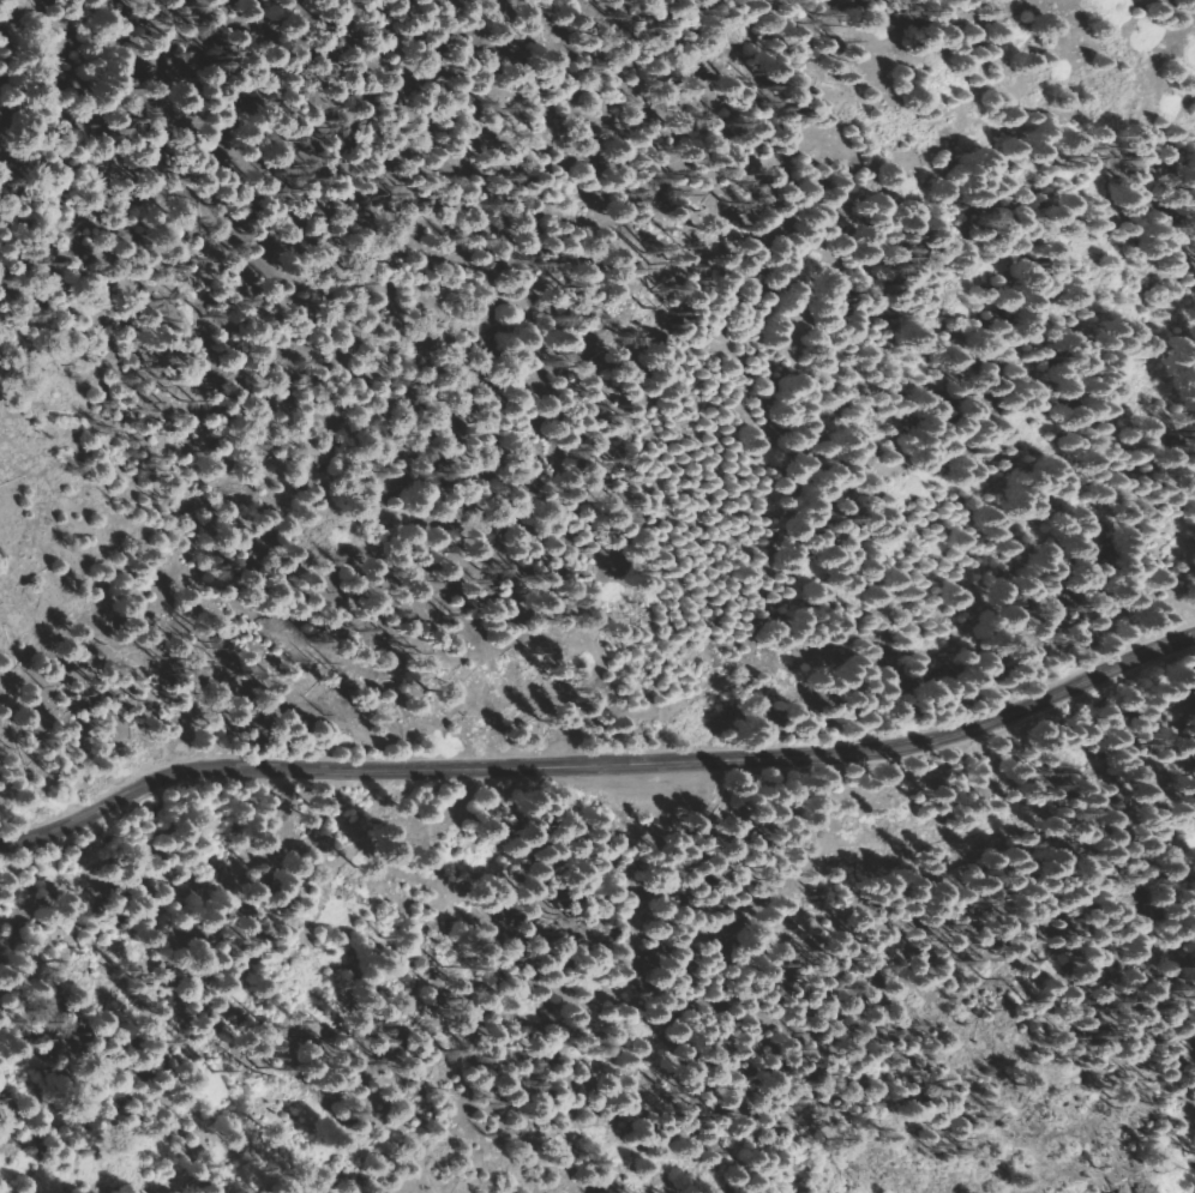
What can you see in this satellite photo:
road: (599, 778)

